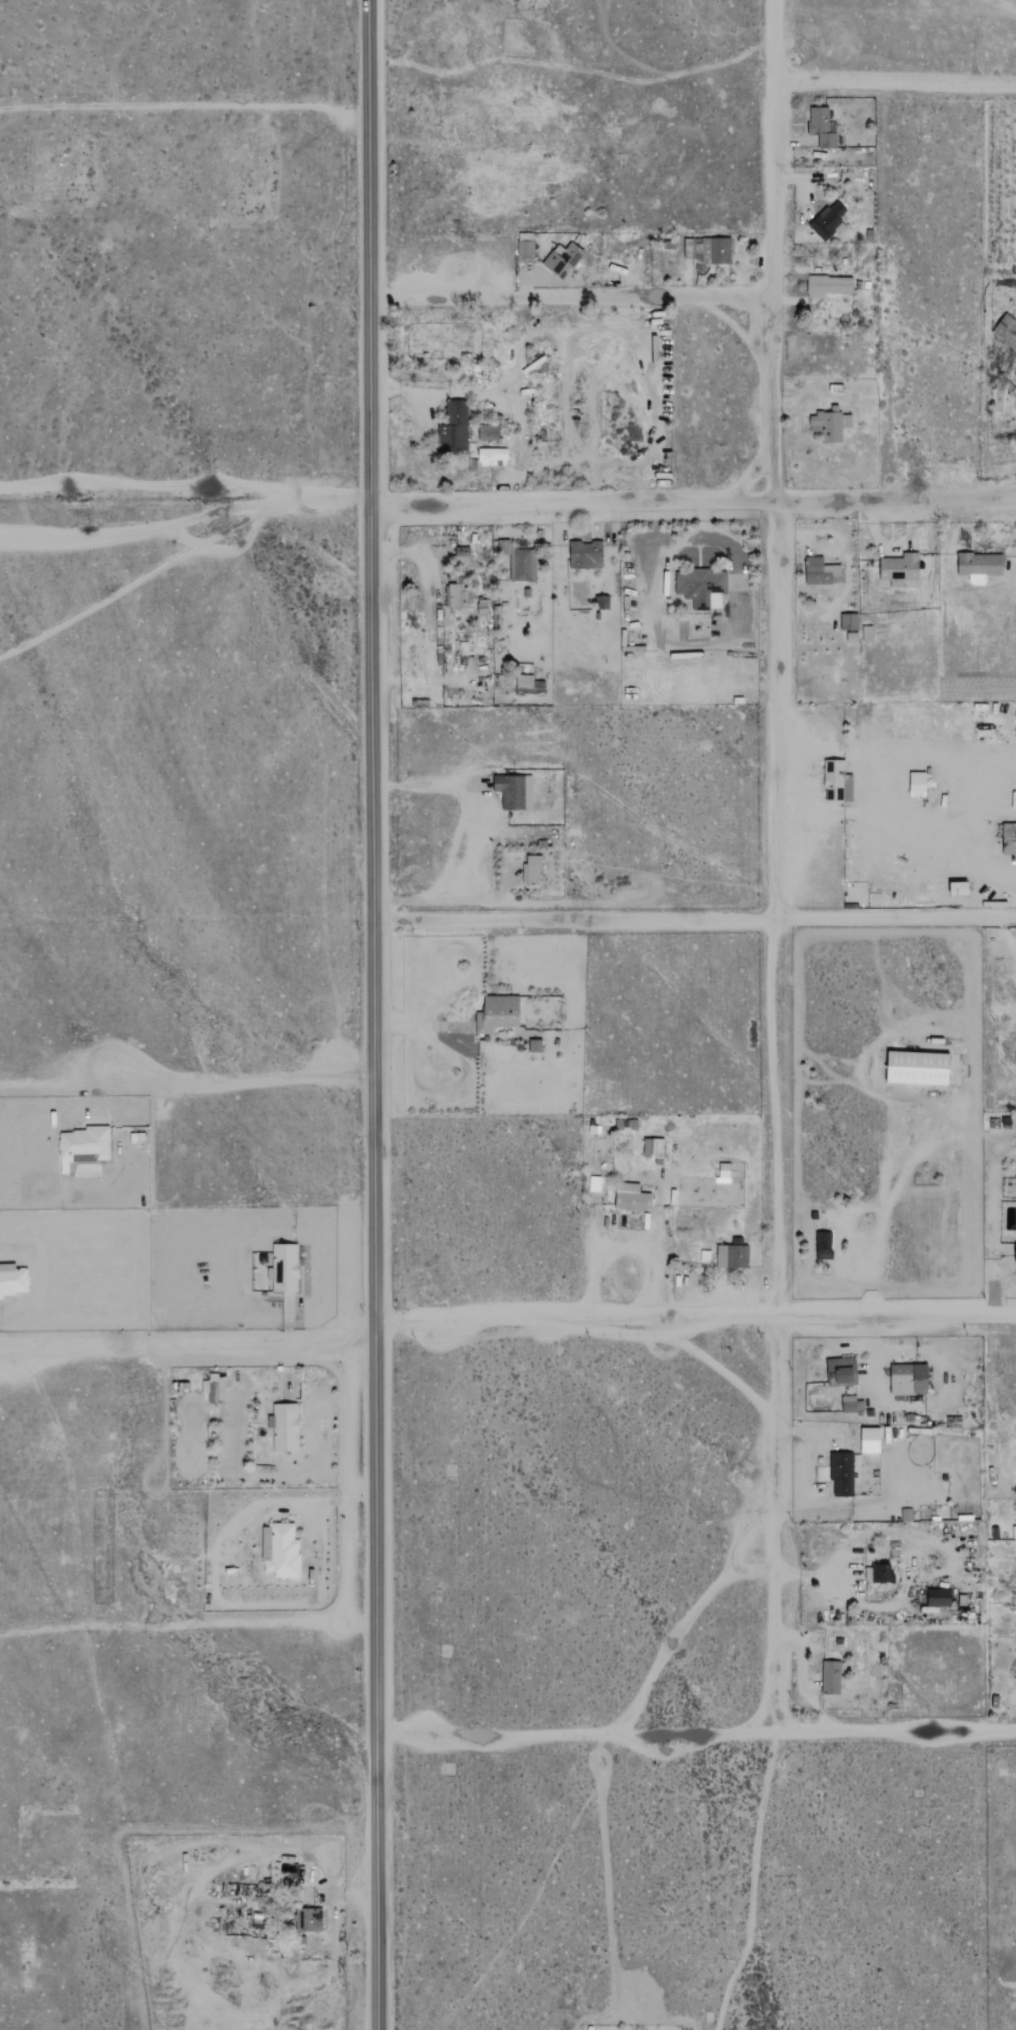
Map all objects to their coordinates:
road: (893, 91)
building: (822, 127)
building: (829, 221)
building: (525, 244)
building: (692, 248)
building: (716, 251)
building: (563, 259)
building: (828, 286)
road: (571, 295)
building: (1006, 330)
building: (830, 425)
building: (455, 427)
building: (488, 433)
building: (493, 457)
road: (185, 499)
road: (693, 502)
building: (586, 555)
building: (462, 556)
building: (522, 565)
building: (980, 567)
building: (899, 570)
building: (820, 572)
building: (702, 587)
building: (458, 596)
building: (849, 622)
building: (867, 634)
building: (525, 681)
building: (837, 782)
building: (917, 784)
building: (514, 791)
road: (473, 832)
building: (1009, 839)
road: (780, 866)
building: (532, 869)
building: (960, 887)
building: (498, 1013)
road: (373, 1014)
road: (421, 1022)
building: (535, 1045)
building: (918, 1067)
road: (187, 1077)
building: (84, 1144)
building: (652, 1147)
building: (724, 1172)
building: (632, 1198)
road: (667, 1206)
road: (885, 1208)
building: (824, 1245)
road: (631, 1246)
building: (1015, 1253)
building: (732, 1254)
building: (284, 1267)
building: (13, 1279)
road: (708, 1316)
road: (388, 1325)
road: (188, 1342)
building: (841, 1369)
building: (909, 1379)
building: (211, 1388)
building: (851, 1404)
building: (285, 1427)
road: (816, 1431)
building: (871, 1440)
building: (842, 1473)
building: (280, 1551)
building: (878, 1573)
building: (939, 1597)
road: (290, 1624)
building: (832, 1677)
road: (696, 1732)
building: (308, 1920)

